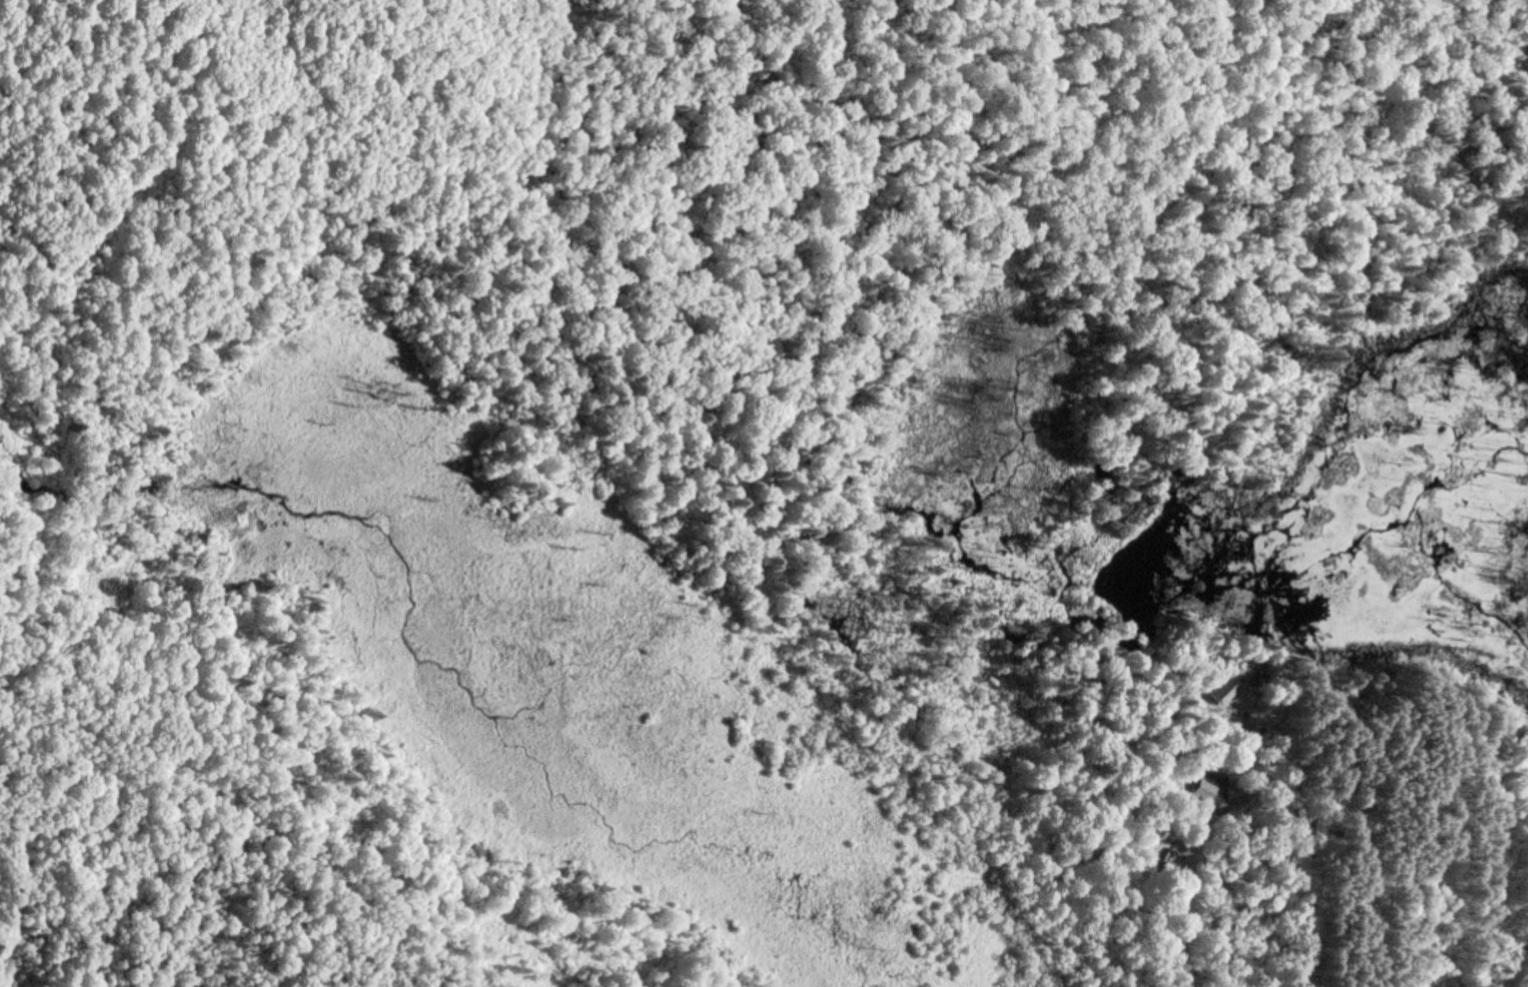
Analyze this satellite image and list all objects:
building: (1206, 788)

